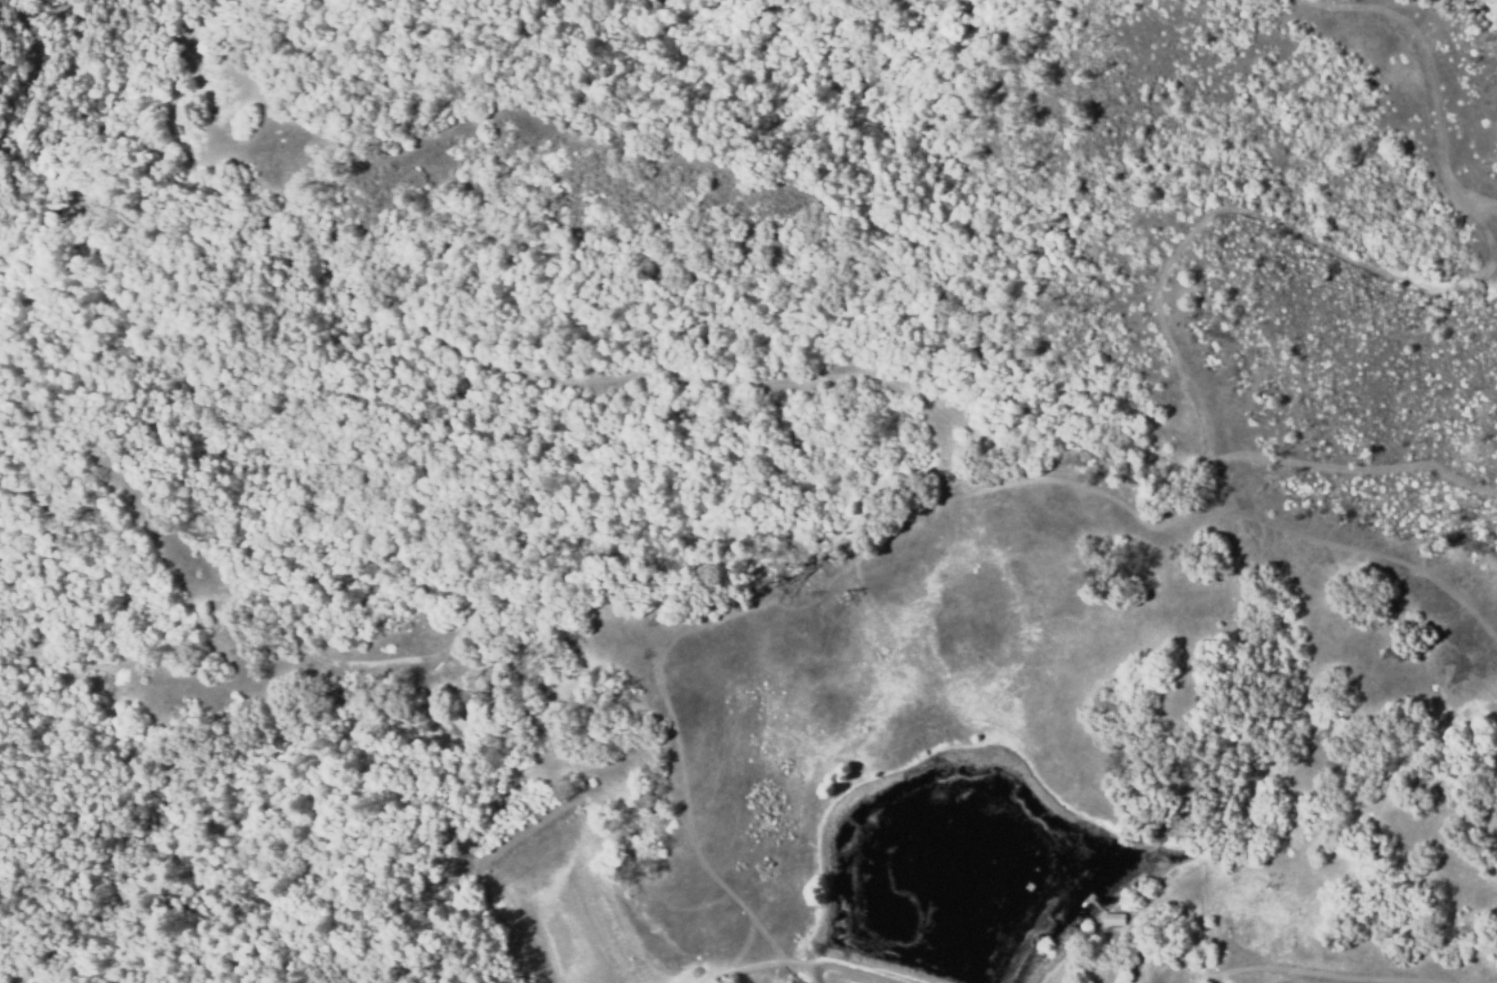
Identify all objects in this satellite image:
road: (23, 64)
building: (1113, 920)

